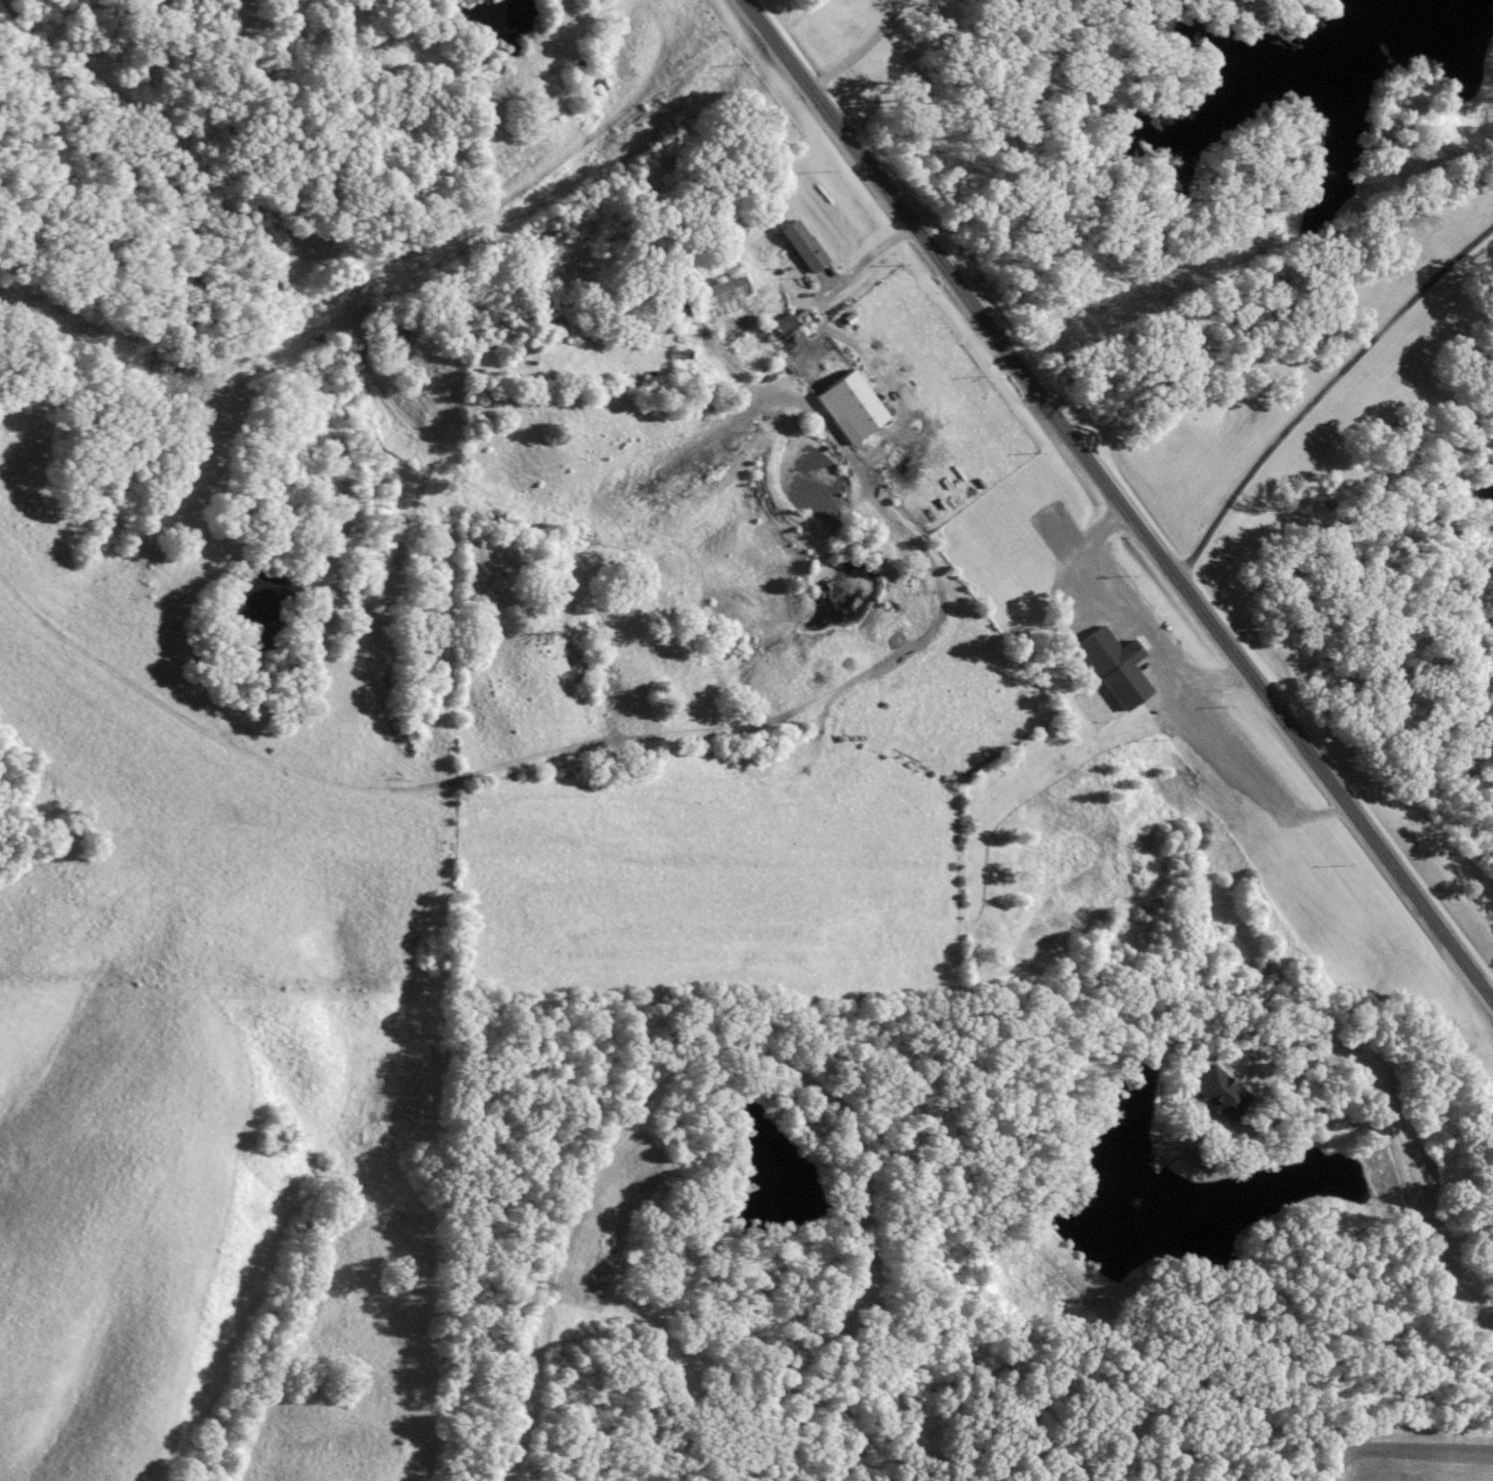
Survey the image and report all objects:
building: (803, 245)
building: (716, 297)
building: (785, 332)
building: (850, 405)
road: (1114, 503)
building: (1118, 662)
building: (397, 738)
building: (1220, 1091)

